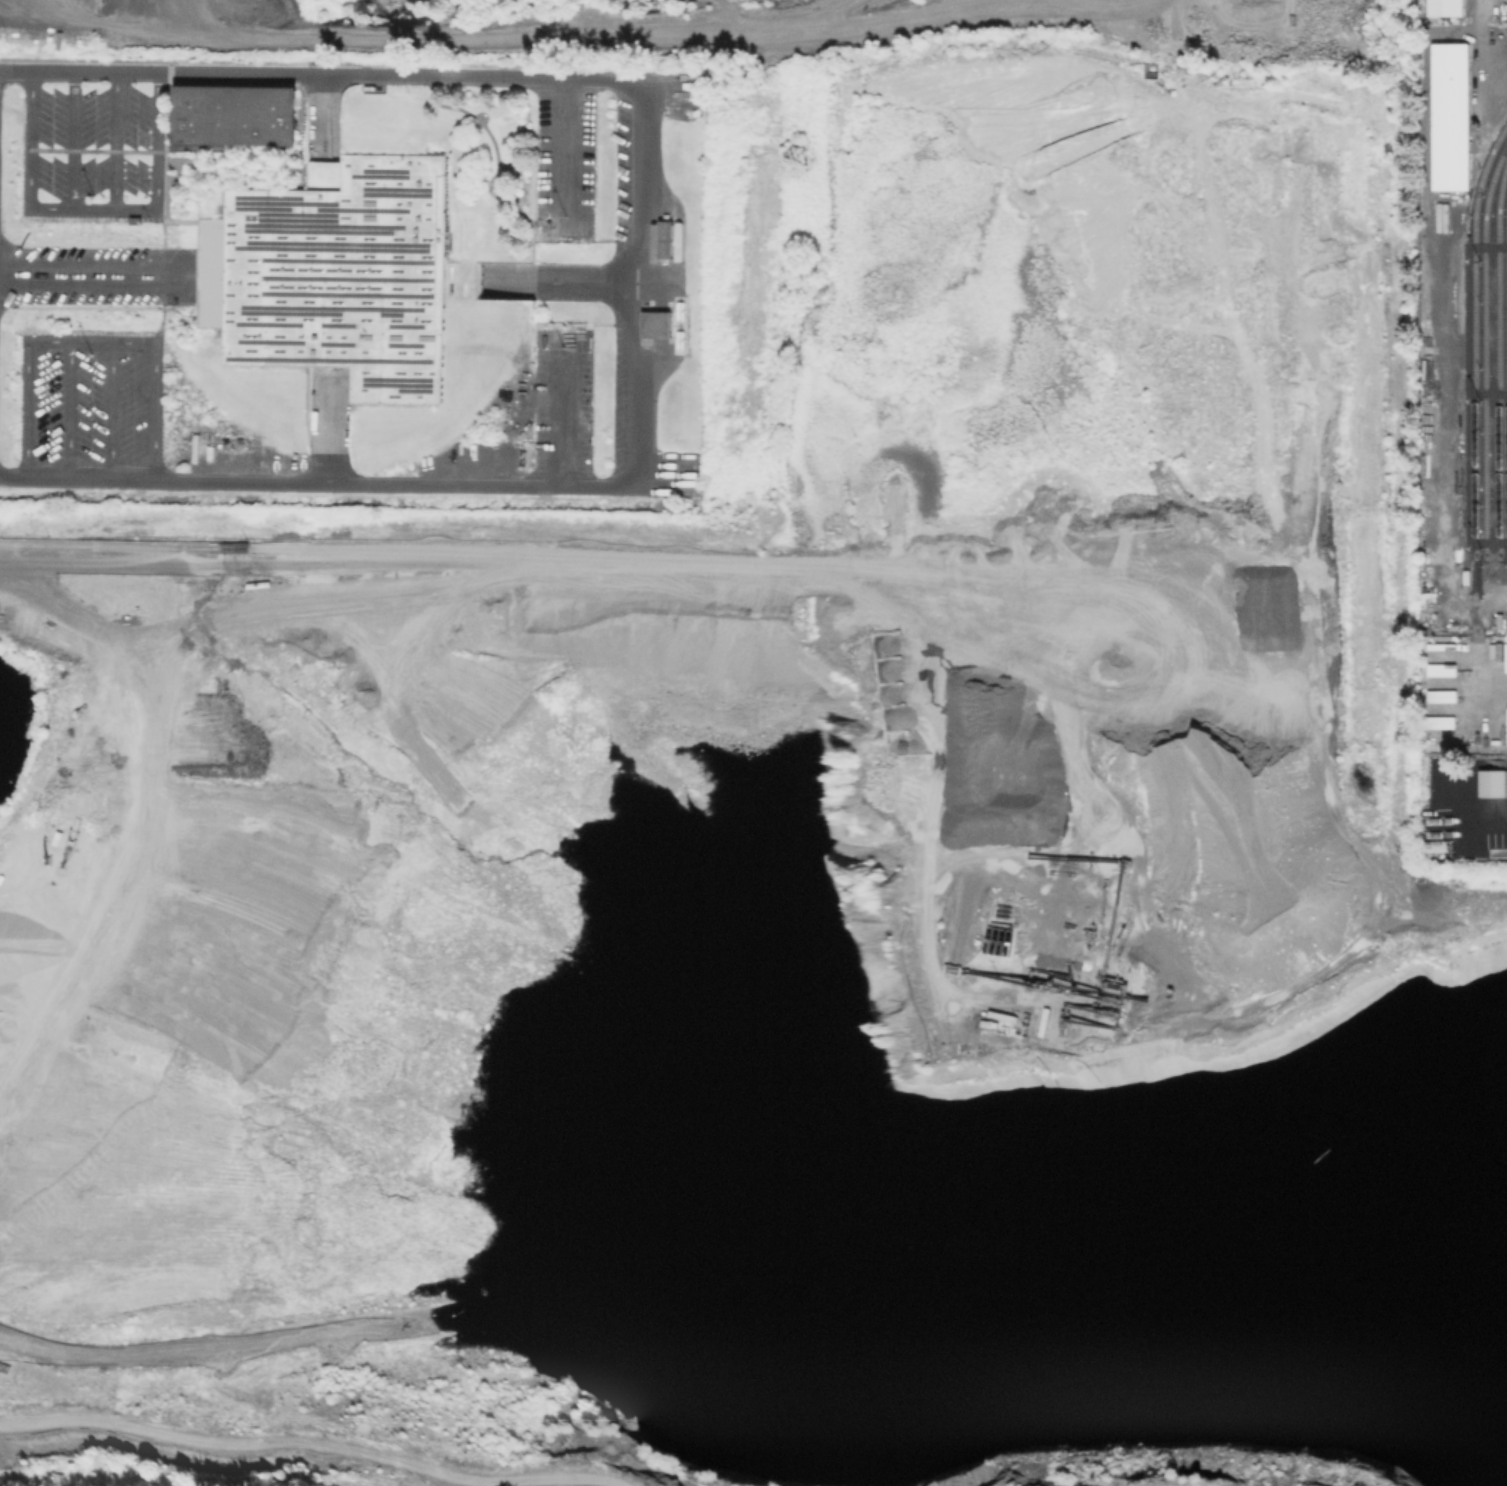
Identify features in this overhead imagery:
building: (1443, 7)
road: (397, 74)
road: (1506, 93)
building: (234, 113)
road: (322, 114)
building: (1448, 114)
road: (73, 139)
road: (115, 140)
road: (562, 142)
rooftop solar panel: (383, 174)
rooftop solar panel: (393, 192)
rooftop solar panel: (262, 204)
road: (92, 208)
rooftop solar panel: (370, 211)
rooftop solar panel: (296, 215)
rooftop solar panel: (296, 221)
rooftop solar panel: (316, 226)
railway: (1506, 229)
rooftop solar panel: (316, 231)
building: (663, 238)
rooftop solar panel: (336, 244)
road: (1486, 246)
rooftop solar panel: (333, 249)
rooftop solar panel: (342, 261)
building: (332, 273)
road: (176, 277)
rooftop solar panel: (342, 280)
rooftop solar panel: (342, 295)
rooftop solar panel: (332, 308)
rooftop solar panel: (290, 314)
rooftop solar panel: (392, 314)
rooftop solar panel: (268, 324)
rooftop solar panel: (339, 324)
building: (654, 324)
rooftop solar panel: (406, 326)
road: (89, 342)
rooftop solar panel: (270, 342)
rooftop solar panel: (337, 342)
rooftop solar panel: (407, 344)
rooftop solar panel: (324, 358)
rooftop solar panel: (399, 378)
rooftop solar panel: (399, 383)
rooftop solar panel: (415, 389)
road: (1467, 393)
road: (1487, 393)
railway: (1473, 402)
railway: (1483, 414)
railway: (1498, 422)
road: (326, 428)
road: (379, 480)
road: (1487, 542)
building: (1494, 784)
road: (1321, 811)
road: (1487, 815)
quarry: (788, 828)
road: (1315, 999)
road: (1206, 1468)

